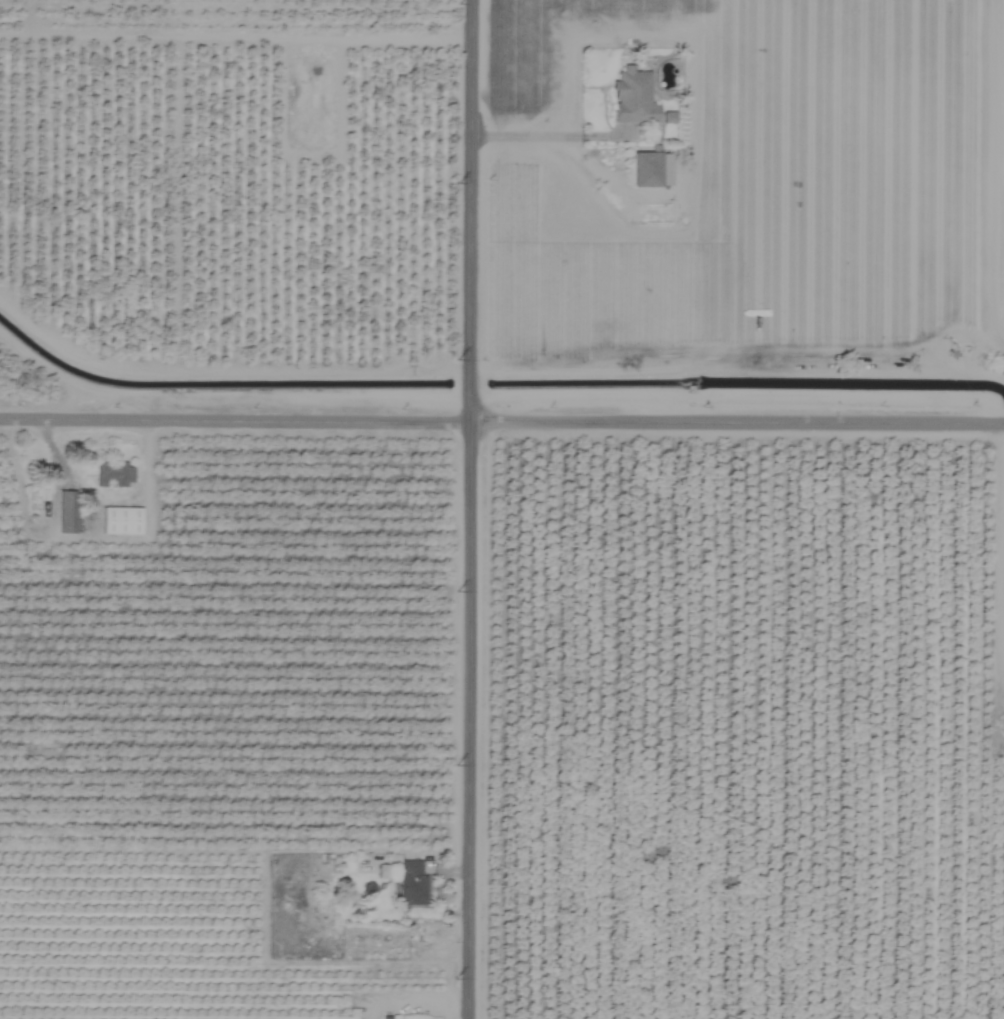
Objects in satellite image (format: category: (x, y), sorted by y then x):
building: (633, 97)
road: (540, 136)
building: (650, 169)
road: (502, 419)
building: (113, 475)
road: (468, 509)
crop: (502, 509)
building: (66, 512)
building: (121, 521)
building: (411, 884)
building: (385, 1018)

